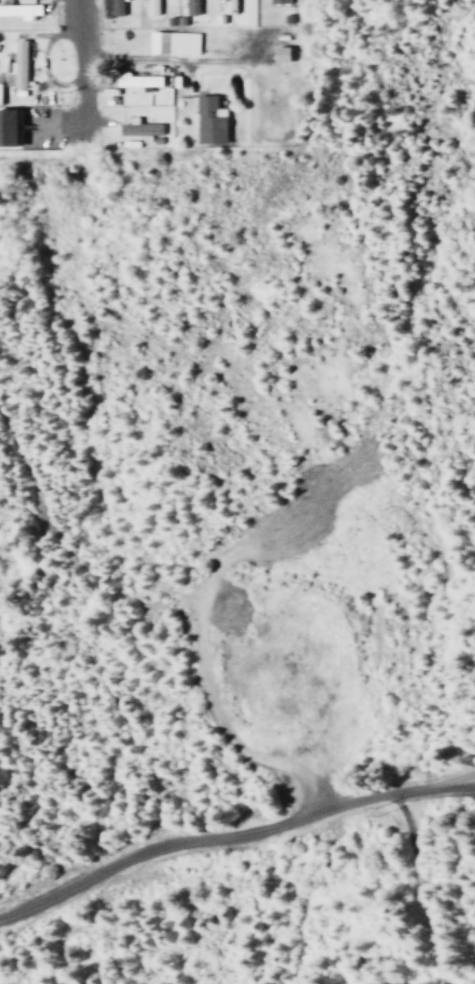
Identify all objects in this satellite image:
building: (276, 1)
building: (150, 6)
building: (227, 6)
building: (109, 7)
building: (189, 7)
building: (18, 9)
building: (171, 41)
building: (280, 53)
road: (74, 61)
building: (14, 65)
building: (137, 79)
building: (207, 119)
building: (7, 126)
building: (138, 128)
power tower: (367, 809)
road: (232, 830)

